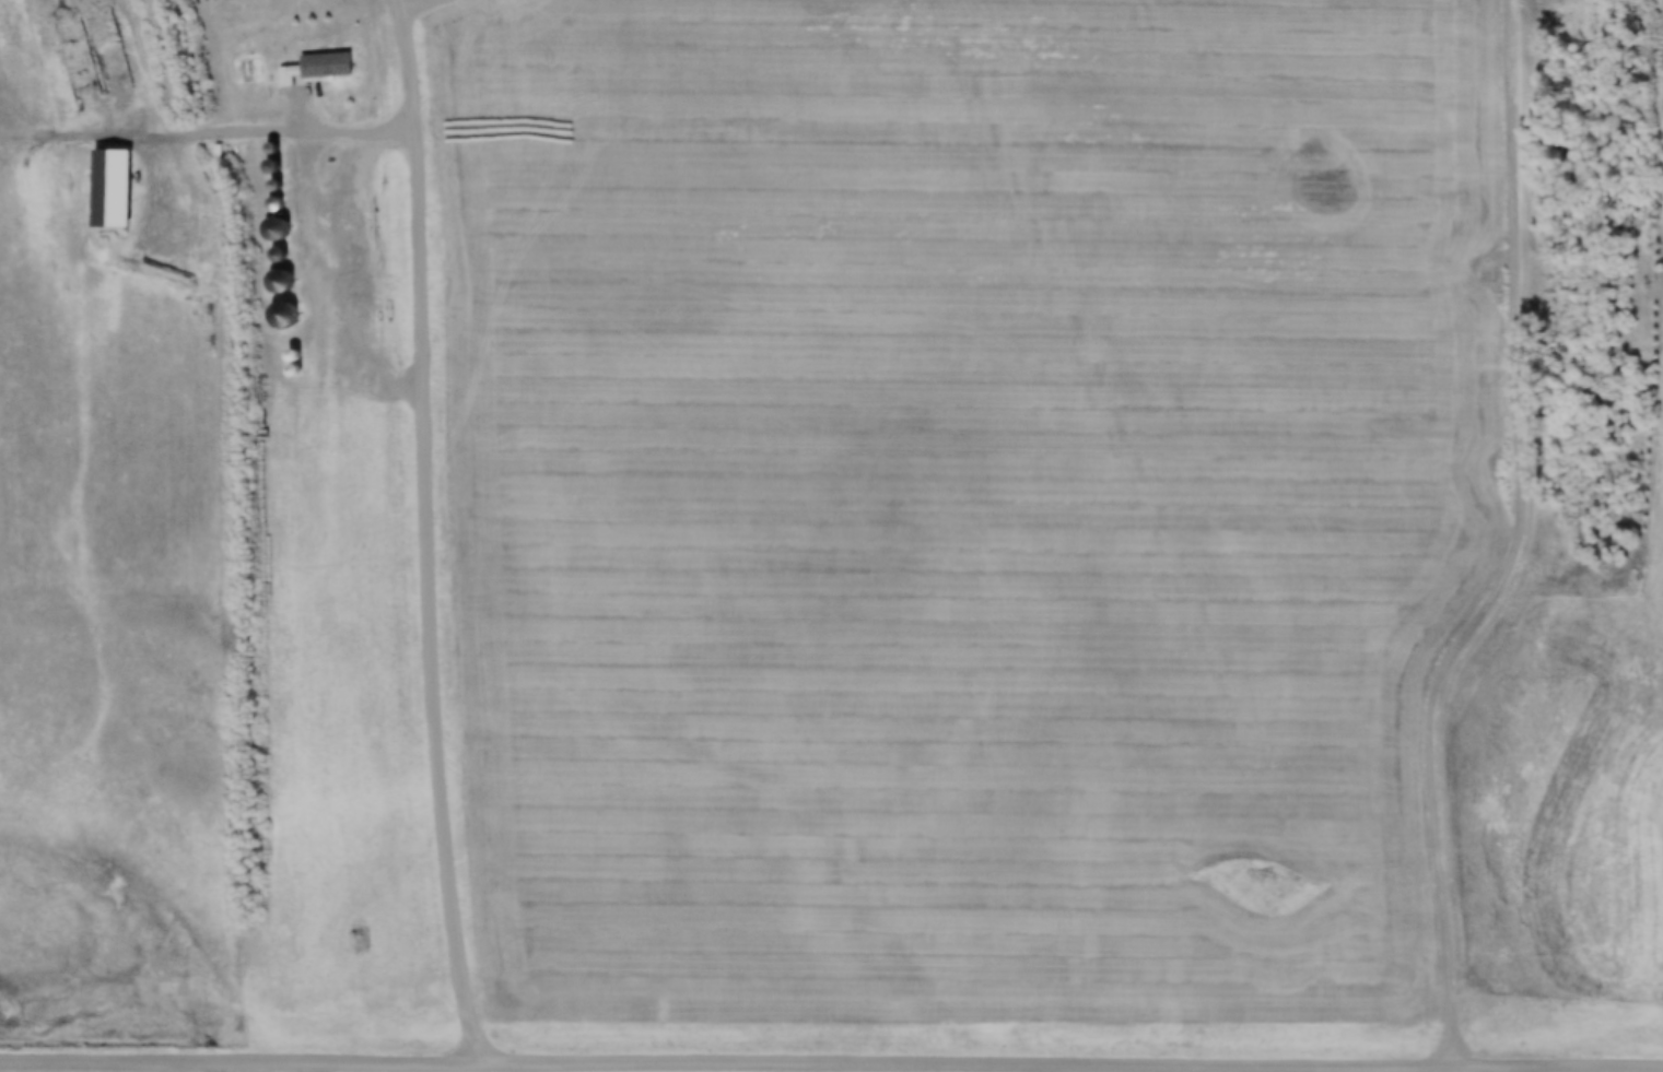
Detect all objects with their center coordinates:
road: (418, 3)
building: (316, 69)
road: (208, 132)
building: (112, 188)
building: (276, 229)
building: (280, 281)
building: (284, 314)
road: (429, 532)
road: (1514, 550)
road: (831, 1063)
road: (1531, 1070)

